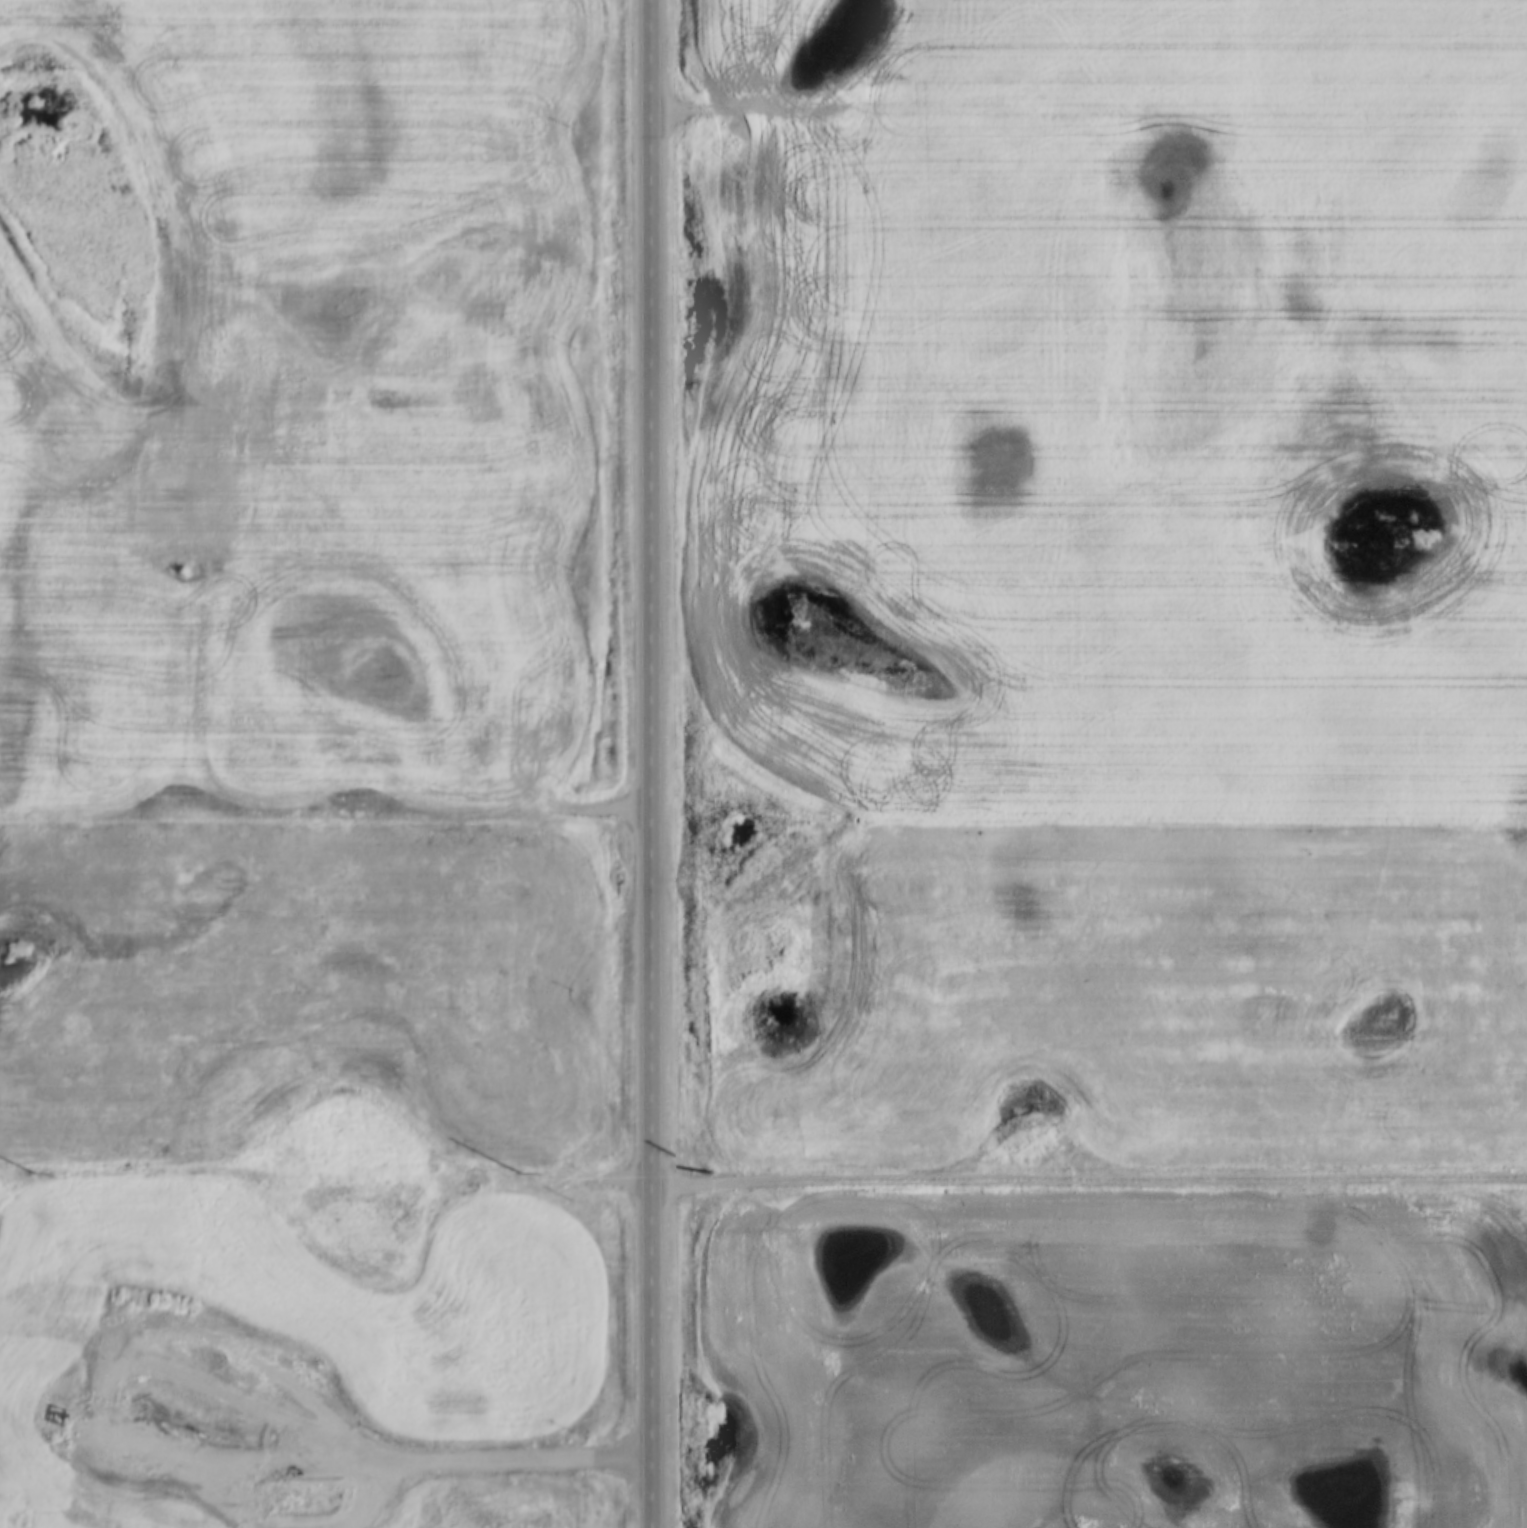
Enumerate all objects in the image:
road: (980, 107)
road: (649, 763)
road: (236, 804)
road: (1088, 1181)
road: (267, 1457)
building: (273, 1477)
storage tank: (273, 1477)
building: (297, 1477)
storage tank: (297, 1477)
building: (285, 1478)
storage tank: (285, 1478)
building: (308, 1478)
storage tank: (308, 1478)
building: (296, 1488)
storage tank: (296, 1488)
building: (272, 1489)
storage tank: (272, 1489)
building: (285, 1489)
storage tank: (285, 1489)
building: (309, 1489)
storage tank: (309, 1489)
building: (159, 1499)
storage tank: (159, 1499)
building: (122, 1500)
storage tank: (122, 1500)
building: (134, 1500)
storage tank: (134, 1500)
building: (146, 1500)
storage tank: (146, 1500)
building: (122, 1512)
storage tank: (122, 1512)
building: (135, 1512)
storage tank: (135, 1512)
building: (145, 1512)
storage tank: (145, 1512)
building: (158, 1512)
storage tank: (158, 1512)

